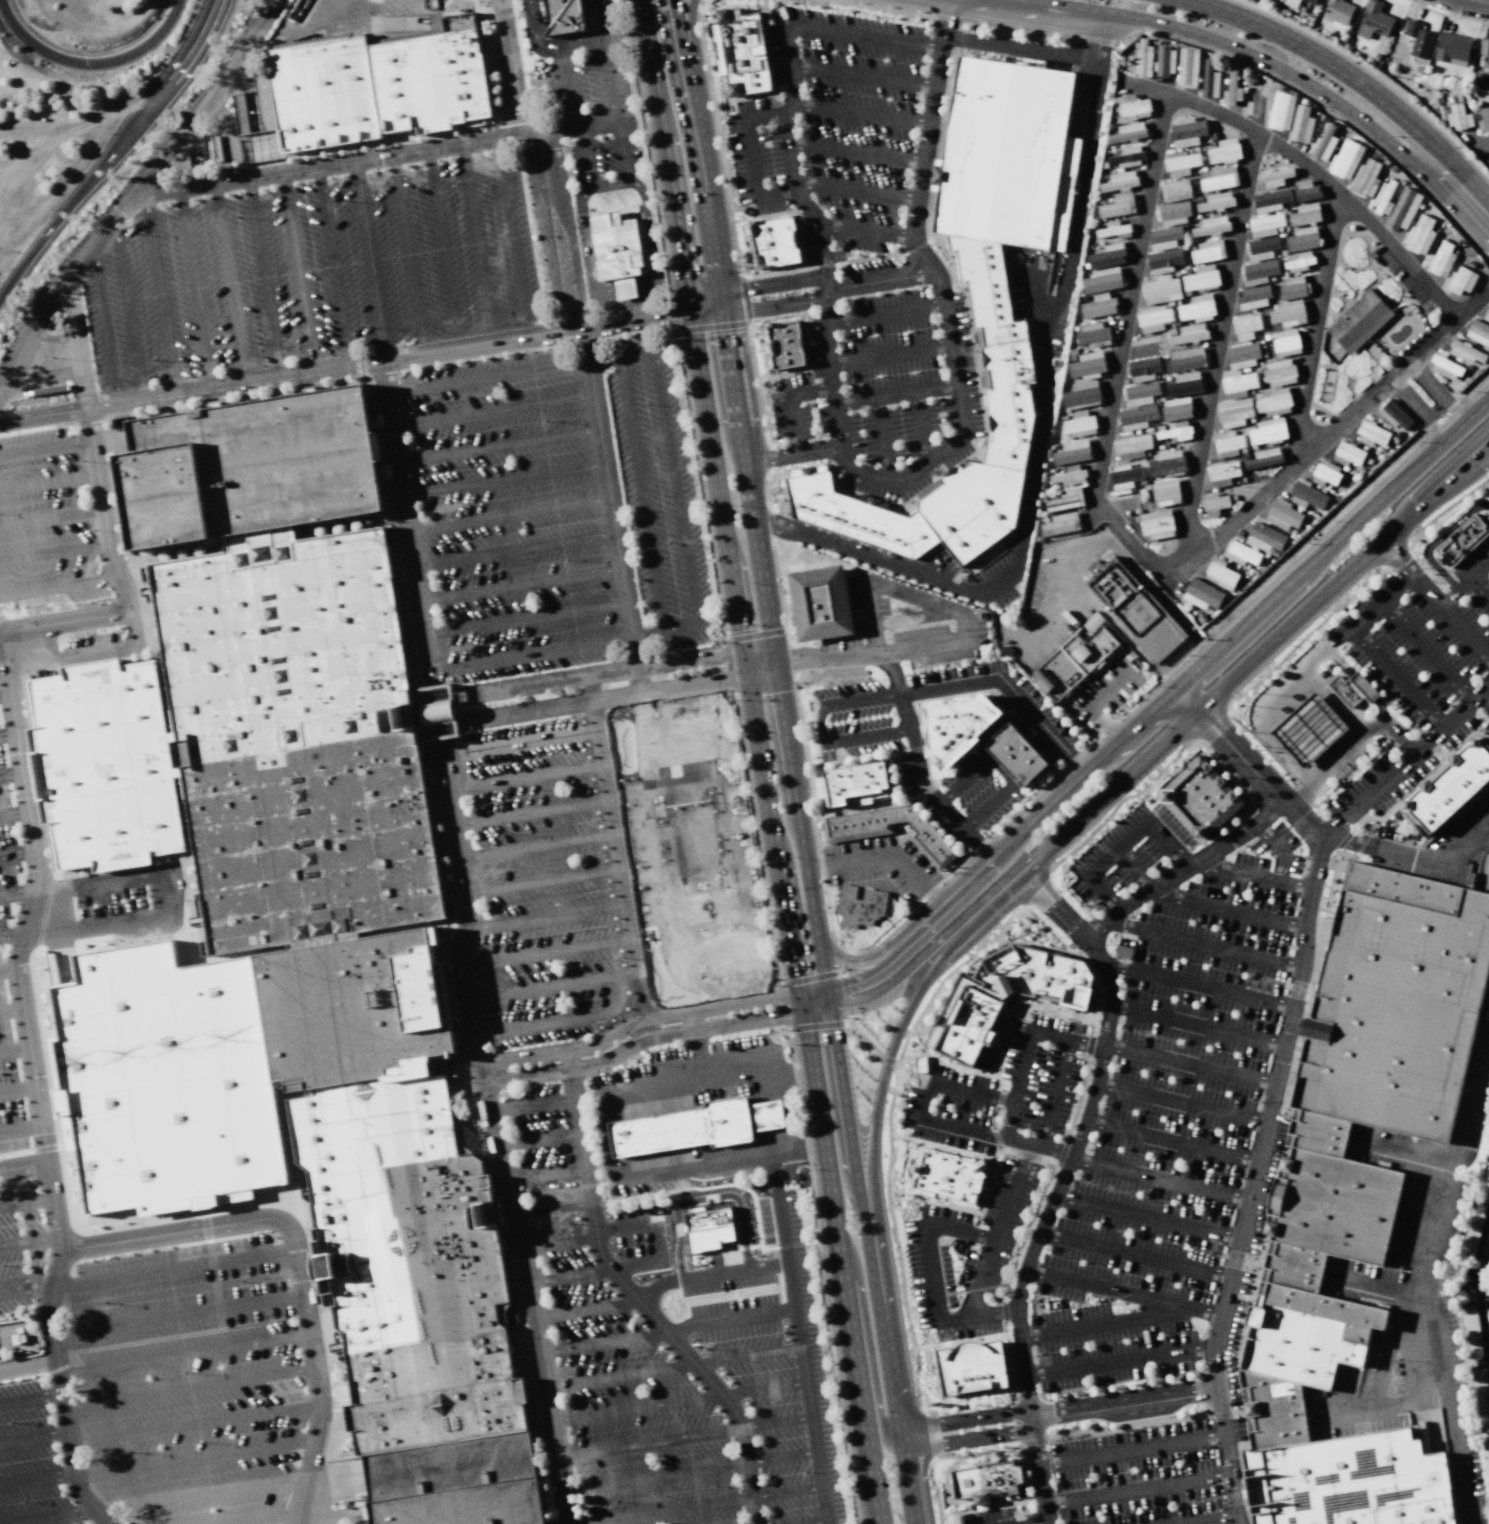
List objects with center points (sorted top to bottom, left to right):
building: (1309, 2)
road: (1472, 2)
building: (1291, 3)
building: (467, 6)
road: (1065, 9)
building: (1339, 11)
building: (565, 17)
road: (599, 20)
building: (1373, 20)
road: (535, 34)
road: (865, 37)
building: (1418, 38)
road: (604, 40)
road: (688, 40)
building: (1483, 46)
road: (1019, 48)
building: (1452, 49)
building: (743, 54)
building: (1142, 59)
building: (1165, 61)
road: (91, 65)
road: (512, 67)
building: (1187, 67)
building: (1488, 69)
road: (864, 76)
road: (1352, 77)
building: (1209, 79)
road: (568, 87)
building: (364, 93)
road: (1334, 101)
building: (1132, 107)
building: (1281, 111)
road: (861, 113)
building: (1459, 117)
parking lot: (595, 118)
building: (1485, 119)
building: (1301, 124)
building: (1187, 131)
building: (1128, 132)
parking lot: (837, 136)
building: (1325, 143)
building: (1224, 151)
road: (116, 154)
road: (859, 155)
road: (753, 156)
building: (1127, 157)
road: (1488, 157)
road: (374, 158)
building: (1345, 159)
road: (623, 160)
road: (794, 160)
building: (1180, 163)
building: (1275, 177)
building: (1366, 178)
building: (1220, 179)
building: (1119, 181)
road: (1327, 183)
road: (133, 190)
building: (1175, 190)
building: (1306, 190)
road: (859, 193)
building: (1384, 197)
building: (1270, 200)
building: (1216, 202)
building: (1117, 206)
building: (1403, 209)
building: (1173, 213)
building: (1305, 214)
building: (1265, 225)
building: (1211, 226)
road: (568, 229)
road: (867, 230)
building: (1113, 230)
road: (546, 232)
building: (1420, 235)
road: (513, 237)
building: (1164, 237)
building: (1302, 239)
road: (478, 243)
building: (779, 244)
road: (443, 248)
building: (1261, 248)
building: (1208, 251)
building: (618, 253)
road: (407, 254)
building: (1107, 256)
building: (1441, 259)
road: (368, 260)
building: (1163, 261)
building: (1299, 261)
road: (332, 266)
parking lot: (311, 271)
road: (297, 272)
building: (995, 272)
building: (1258, 272)
road: (263, 277)
building: (1201, 278)
road: (879, 279)
building: (1103, 280)
building: (1461, 280)
road: (229, 283)
road: (757, 287)
road: (624, 288)
building: (1292, 288)
road: (194, 289)
building: (1161, 289)
road: (1034, 292)
road: (159, 295)
building: (1254, 297)
building: (1099, 306)
road: (776, 307)
building: (1197, 308)
road: (127, 309)
building: (1288, 313)
road: (886, 314)
building: (1486, 315)
road: (652, 317)
building: (1154, 318)
building: (1359, 321)
road: (105, 324)
building: (1248, 326)
building: (1478, 332)
building: (1093, 333)
building: (1190, 334)
building: (783, 335)
road: (50, 339)
road: (952, 342)
building: (1286, 342)
road: (484, 343)
road: (76, 344)
building: (1465, 352)
road: (892, 354)
building: (1242, 355)
building: (787, 357)
building: (1185, 359)
road: (603, 360)
building: (1087, 364)
road: (831, 366)
building: (1445, 367)
building: (1143, 369)
building: (1279, 373)
road: (42, 376)
road: (486, 378)
building: (1238, 383)
building: (1184, 384)
road: (1380, 389)
road: (191, 391)
parking lot: (883, 391)
road: (897, 393)
building: (1082, 394)
building: (1140, 394)
road: (1428, 400)
building: (1272, 401)
road: (793, 402)
road: (1302, 403)
building: (1176, 409)
road: (492, 412)
building: (1234, 412)
building: (1394, 415)
building: (1136, 417)
building: (1079, 425)
road: (920, 427)
road: (1037, 431)
building: (1174, 431)
building: (1267, 432)
building: (1371, 435)
road: (882, 440)
building: (1132, 445)
road: (498, 446)
building: (1229, 446)
road: (46, 447)
building: (1072, 452)
building: (1348, 454)
building: (1264, 458)
building: (1166, 463)
building: (1222, 473)
building: (1325, 473)
building: (1069, 475)
building: (1124, 476)
road: (48, 481)
road: (504, 481)
road: (677, 490)
building: (1070, 492)
parking lot: (1487, 492)
building: (1165, 493)
road: (642, 495)
building: (1307, 496)
road: (718, 498)
road: (749, 504)
building: (1214, 505)
parking lot: (555, 507)
building: (851, 514)
building: (1284, 515)
road: (509, 516)
parking lot: (47, 517)
road: (51, 517)
building: (1156, 524)
road: (106, 529)
building: (1265, 538)
road: (1436, 541)
building: (1461, 541)
road: (514, 550)
road: (1142, 551)
road: (54, 552)
road: (1082, 553)
building: (1240, 553)
building: (1220, 574)
road: (1482, 585)
road: (520, 586)
road: (1465, 586)
road: (60, 587)
road: (1398, 590)
building: (1202, 594)
road: (1435, 601)
road: (932, 602)
building: (820, 603)
building: (1133, 610)
road: (1369, 616)
road: (526, 620)
road: (65, 622)
parking lot: (897, 633)
road: (648, 636)
road: (1271, 640)
road: (1199, 643)
road: (2, 655)
road: (532, 655)
road: (1210, 656)
road: (78, 657)
road: (759, 662)
building: (1076, 664)
road: (605, 671)
parking lot: (1423, 674)
road: (1161, 679)
road: (638, 680)
road: (1359, 683)
road: (1008, 689)
building: (1352, 689)
gas station: (1352, 689)
road: (1102, 693)
road: (5, 694)
road: (609, 699)
road: (1481, 699)
road: (1270, 700)
road: (1334, 702)
parking lot: (1007, 703)
road: (906, 714)
building: (440, 719)
road: (680, 721)
road: (1103, 724)
building: (955, 725)
parking lot: (874, 727)
road: (819, 731)
building: (1308, 731)
road: (8, 734)
road: (1234, 739)
road: (546, 741)
road: (1349, 747)
road: (1224, 749)
building: (1015, 754)
road: (1001, 771)
road: (11, 773)
road: (551, 775)
building: (1449, 784)
building: (856, 786)
parking lot: (970, 799)
building: (1202, 799)
road: (557, 809)
road: (15, 813)
building: (889, 830)
road: (1165, 841)
road: (562, 845)
road: (734, 845)
road: (698, 849)
road: (1277, 849)
road: (1384, 850)
road: (885, 852)
road: (18, 853)
parking lot: (881, 864)
road: (1183, 868)
parking lot: (610, 869)
road: (567, 877)
road: (18, 894)
building: (312, 899)
road: (1201, 901)
road: (162, 902)
road: (996, 902)
building: (858, 906)
road: (568, 911)
parking lot: (7, 912)
road: (12, 934)
road: (939, 941)
road: (457, 943)
road: (1221, 948)
road: (569, 949)
road: (1136, 954)
road: (856, 962)
road: (8, 970)
road: (878, 972)
road: (653, 973)
road: (721, 979)
road: (1213, 987)
road: (543, 990)
traffic signals: (826, 991)
building: (1007, 994)
traffic signals: (801, 995)
traffic signals: (829, 1009)
road: (12, 1011)
traffic signals: (804, 1014)
road: (636, 1020)
road: (561, 1022)
road: (1196, 1024)
road: (1023, 1035)
road: (639, 1041)
road: (15, 1047)
road: (878, 1054)
road: (1277, 1068)
building: (165, 1076)
road: (34, 1082)
road: (881, 1085)
road: (17, 1087)
parking lot: (1004, 1090)
parking lot: (1167, 1096)
road: (1180, 1100)
road: (530, 1106)
road: (1004, 1119)
road: (889, 1122)
building: (695, 1126)
road: (20, 1129)
road: (605, 1140)
road: (538, 1141)
road: (1169, 1142)
road: (579, 1144)
road: (1033, 1150)
road: (1408, 1158)
road: (23, 1165)
road: (545, 1175)
building: (948, 1176)
road: (1156, 1180)
road: (1057, 1185)
building: (1357, 1189)
road: (705, 1199)
road: (1016, 1199)
road: (26, 1203)
road: (553, 1209)
road: (1146, 1215)
building: (707, 1228)
building: (1473, 1231)
road: (176, 1232)
road: (656, 1238)
road: (29, 1241)
road: (559, 1242)
road: (926, 1252)
parking lot: (968, 1253)
road: (1134, 1254)
road: (840, 1259)
road: (873, 1266)
road: (173, 1268)
road: (731, 1271)
road: (571, 1277)
road: (1484, 1279)
road: (27, 1282)
road: (1125, 1285)
road: (1427, 1285)
road: (1480, 1286)
road: (654, 1288)
road: (1384, 1288)
road: (177, 1314)
road: (729, 1319)
road: (1104, 1325)
building: (1472, 1330)
road: (800, 1338)
road: (603, 1341)
parking lot: (676, 1354)
road: (184, 1355)
road: (1119, 1364)
road: (674, 1367)
road: (28, 1368)
road: (697, 1368)
building: (975, 1368)
road: (317, 1376)
parking lot: (187, 1383)
road: (189, 1388)
building: (1481, 1391)
road: (30, 1397)
road: (679, 1401)
road: (1056, 1404)
road: (1393, 1404)
road: (194, 1423)
road: (1060, 1428)
road: (684, 1435)
road: (33, 1439)
building: (1486, 1450)
road: (1131, 1452)
road: (194, 1458)
parking lot: (28, 1460)
road: (689, 1470)
parking lot: (1138, 1478)
road: (36, 1481)
building: (990, 1484)
road: (1136, 1489)
road: (200, 1494)
road: (707, 1505)
road: (331, 1516)
road: (53, 1517)
road: (267, 1519)
road: (1207, 1519)
road: (1032, 1522)
road: (821, 1523)

